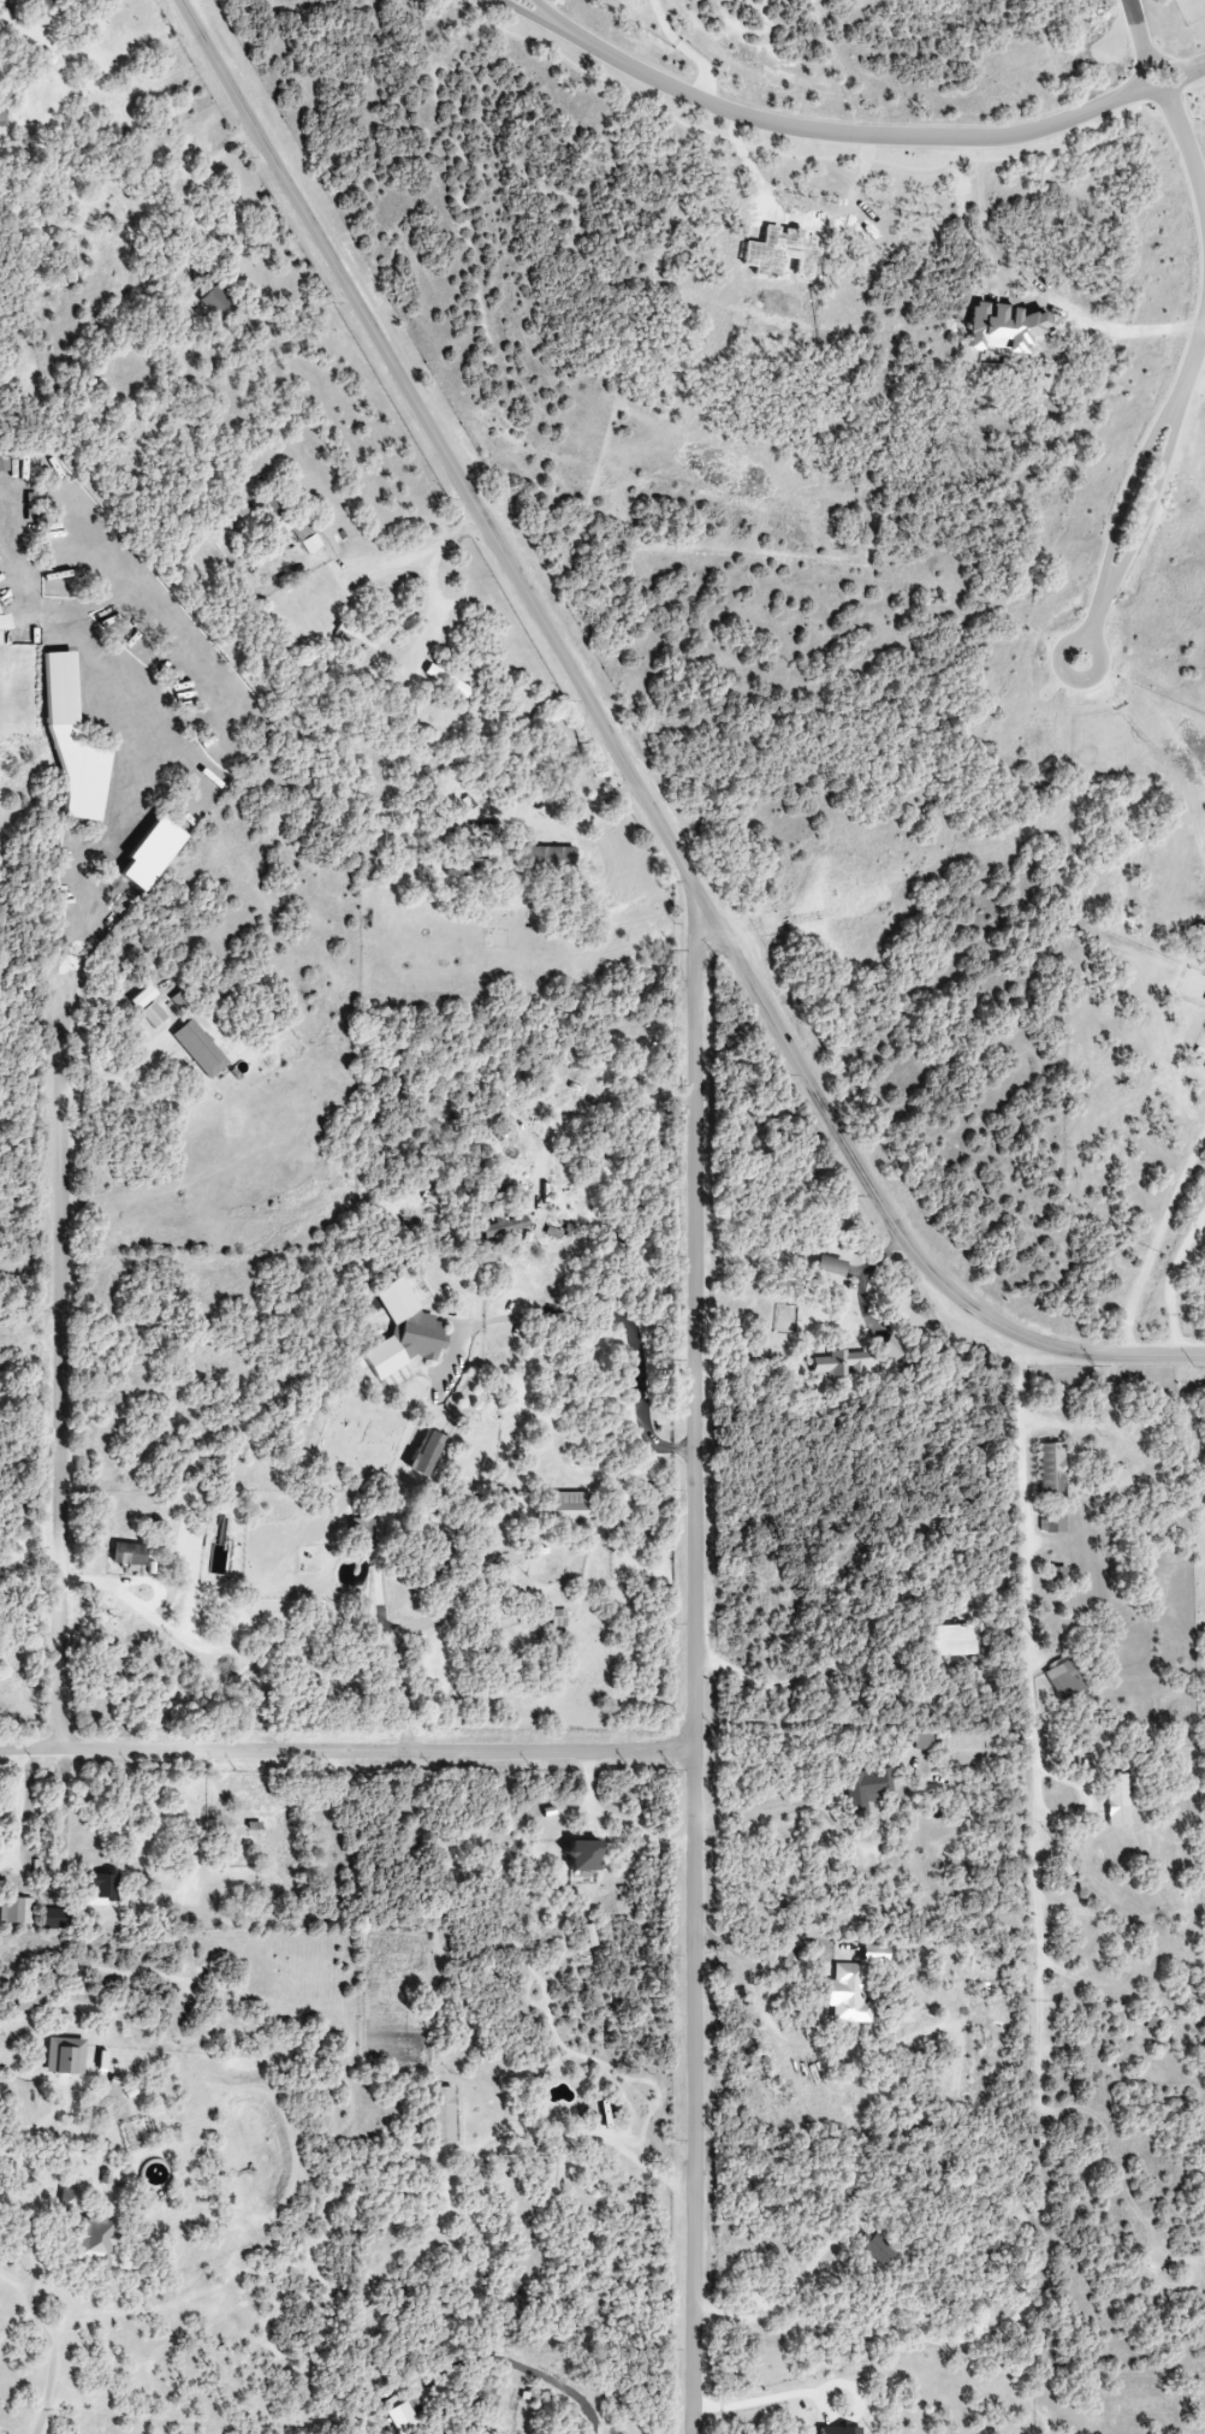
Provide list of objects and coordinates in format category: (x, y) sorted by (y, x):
building: (42, 5)
road: (534, 18)
road: (552, 18)
road: (1141, 34)
road: (693, 47)
road: (1194, 69)
road: (1141, 82)
road: (849, 137)
road: (1188, 149)
building: (188, 158)
road: (203, 180)
building: (216, 303)
road: (1130, 327)
road: (1203, 342)
road: (1191, 371)
building: (4, 464)
road: (1128, 499)
road: (1151, 508)
building: (279, 521)
building: (311, 543)
road: (408, 555)
road: (433, 598)
road: (1098, 620)
building: (356, 636)
road: (1094, 677)
building: (447, 681)
building: (60, 688)
road: (627, 769)
building: (545, 858)
building: (142, 997)
building: (177, 1001)
building: (153, 1015)
building: (200, 1048)
road: (119, 1079)
building: (504, 1227)
building: (830, 1266)
road: (842, 1272)
road: (1169, 1283)
road: (866, 1285)
road: (593, 1313)
building: (403, 1332)
building: (892, 1349)
building: (842, 1363)
road: (61, 1374)
building: (425, 1453)
building: (1050, 1468)
building: (1110, 1481)
building: (570, 1508)
building: (1052, 1524)
building: (363, 1527)
building: (129, 1553)
road: (493, 1556)
building: (1057, 1575)
building: (558, 1618)
building: (954, 1640)
road: (393, 1654)
road: (696, 1672)
building: (1063, 1680)
road: (1033, 1701)
building: (922, 1741)
road: (348, 1753)
building: (865, 1788)
building: (1115, 1800)
road: (18, 1810)
road: (815, 1811)
road: (196, 1837)
building: (582, 1855)
building: (101, 1889)
building: (16, 1911)
building: (52, 1918)
building: (588, 1935)
road: (760, 1966)
building: (850, 1994)
building: (29, 2002)
building: (64, 2056)
building: (441, 2115)
road: (574, 2136)
road: (30, 2171)
building: (553, 2177)
building: (89, 2231)
building: (878, 2248)
building: (984, 2250)
road: (779, 2308)
road: (34, 2310)
road: (931, 2340)
building: (532, 2395)
road: (754, 2400)
building: (842, 2430)

